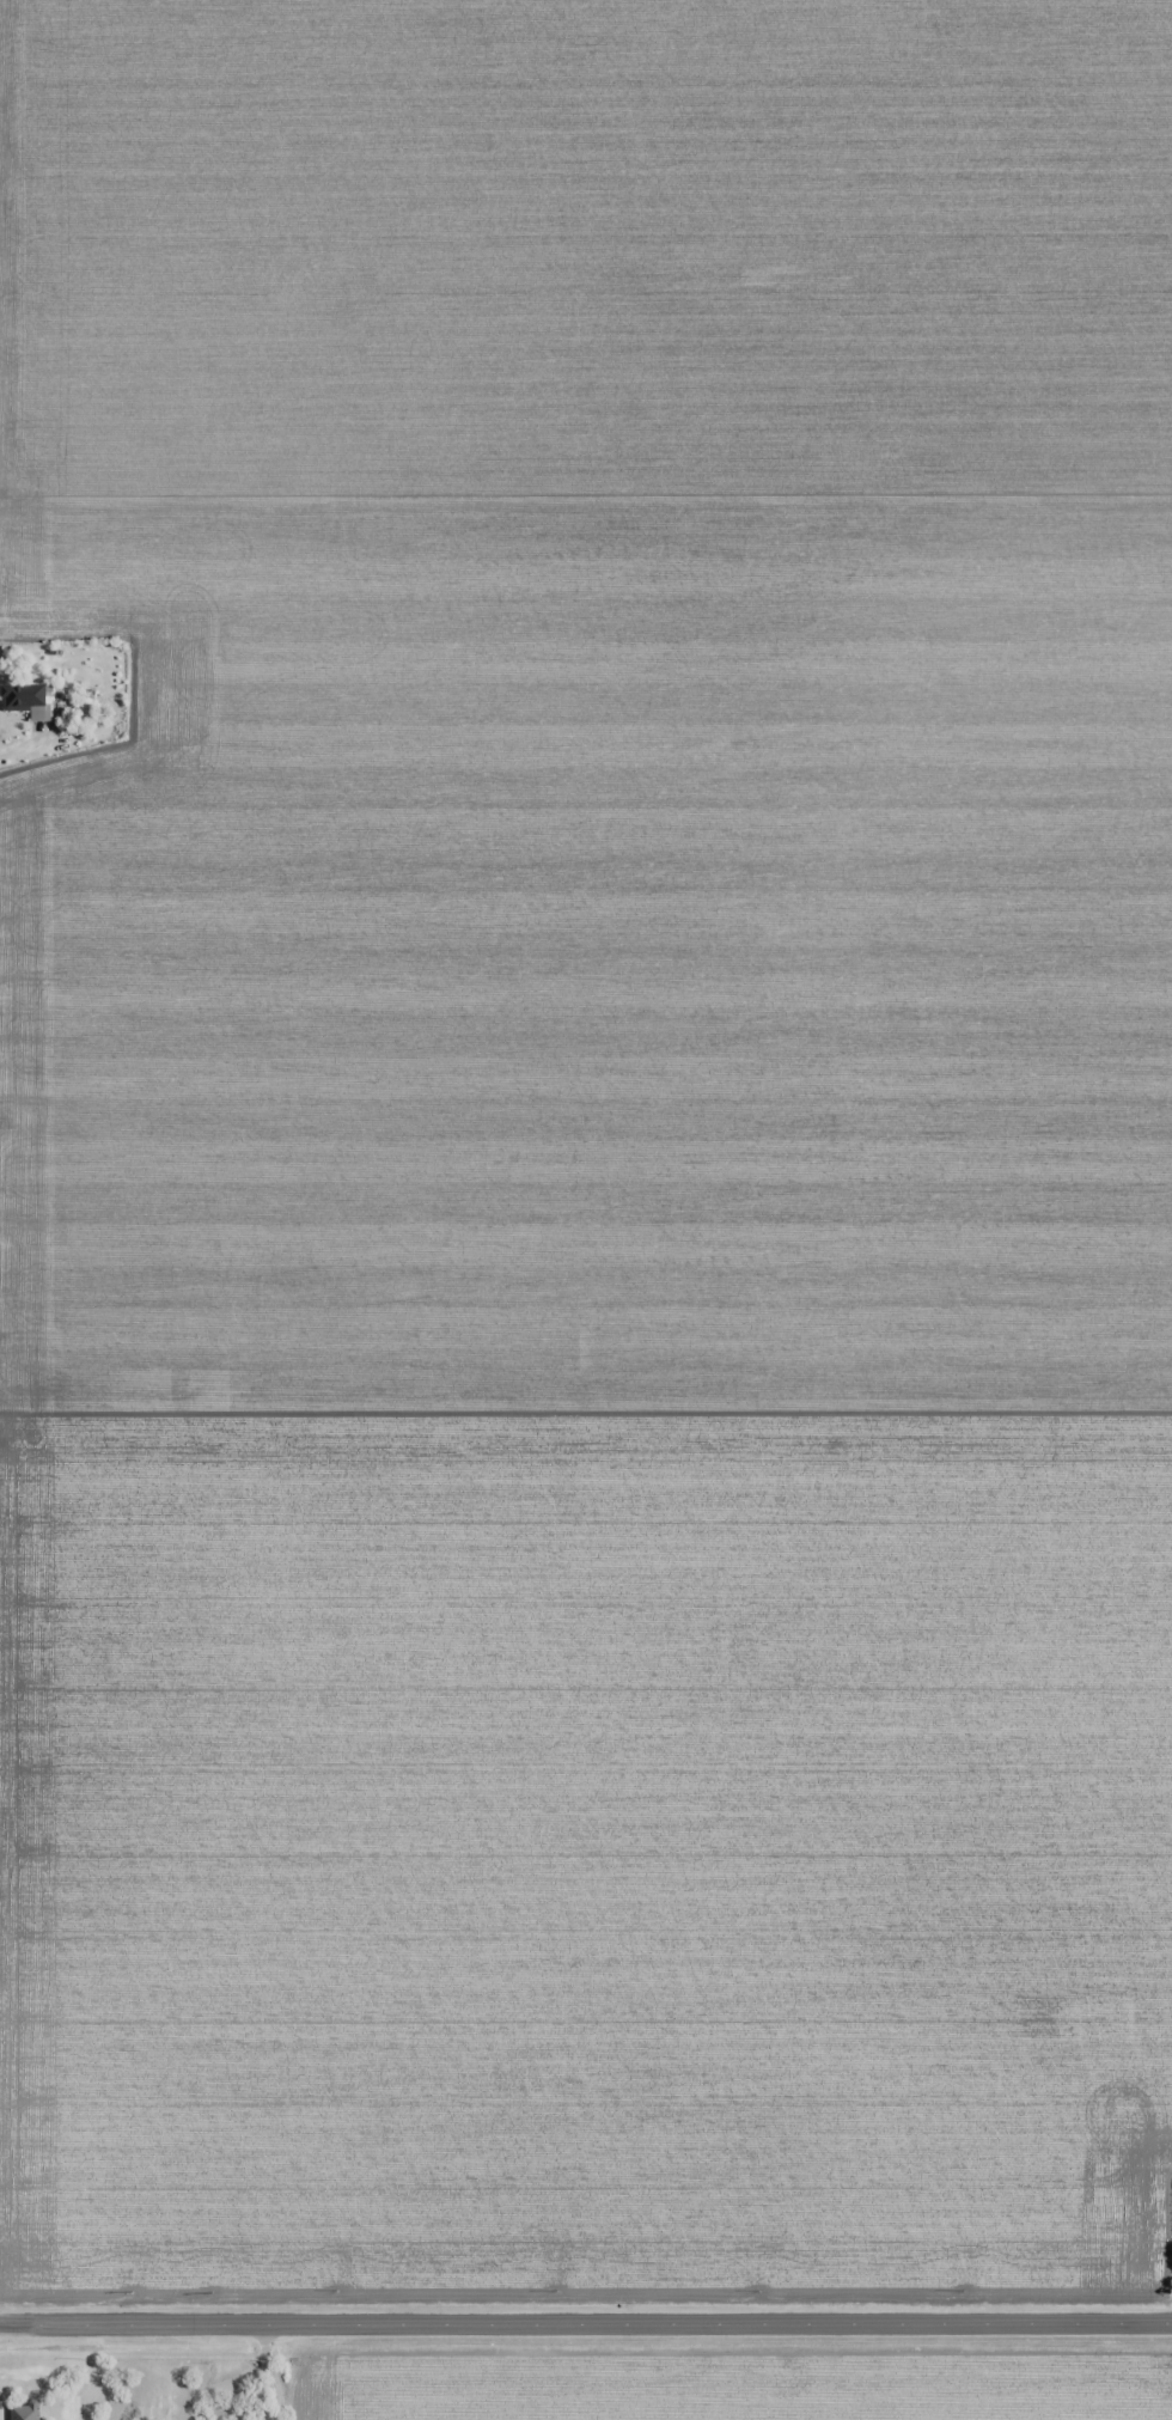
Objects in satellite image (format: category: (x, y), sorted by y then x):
building: (29, 701)
road: (586, 2320)
building: (24, 2412)

